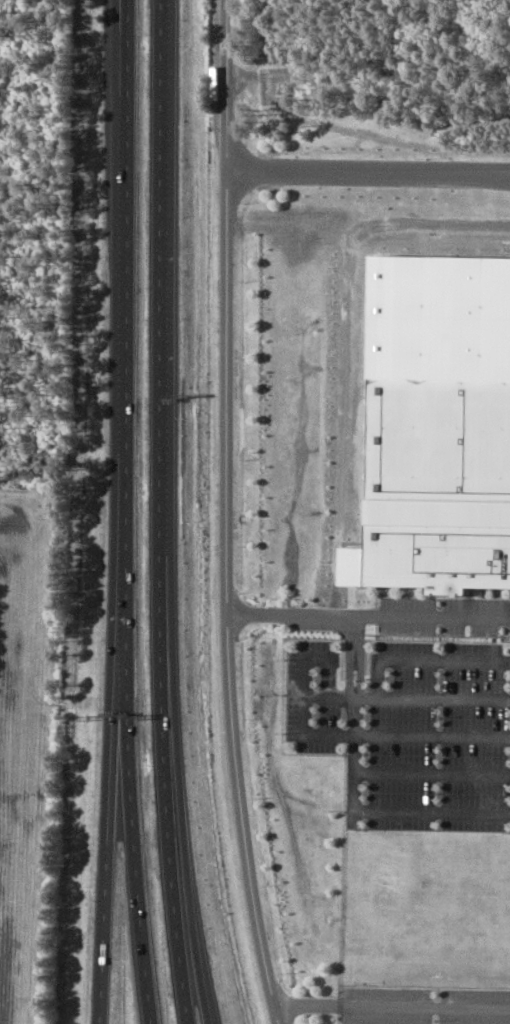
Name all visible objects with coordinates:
road: (372, 173)
road: (123, 361)
road: (166, 443)
building: (441, 484)
road: (232, 513)
road: (371, 615)
road: (354, 655)
road: (328, 695)
road: (443, 697)
road: (302, 705)
road: (354, 735)
road: (432, 736)
road: (432, 772)
road: (120, 844)
road: (136, 873)
road: (186, 955)
road: (193, 955)
road: (113, 995)
road: (394, 1007)

